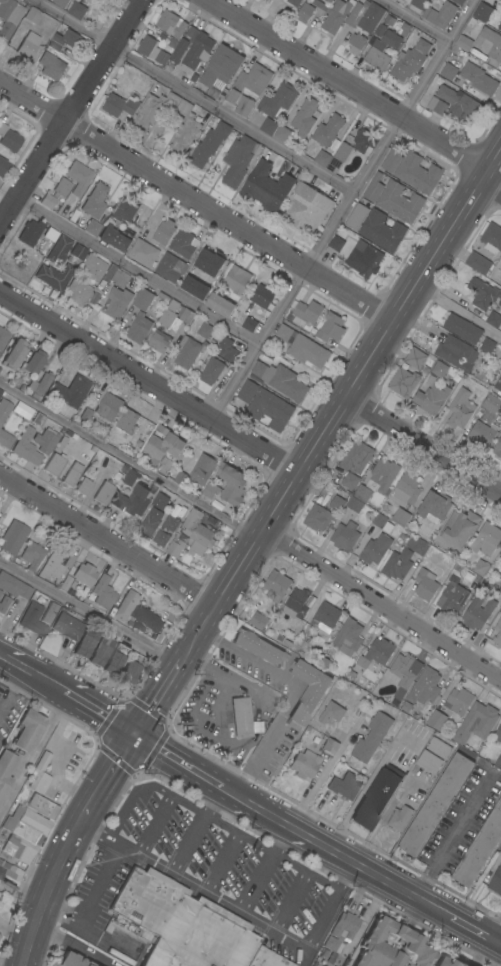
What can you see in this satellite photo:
building: (328, 1)
building: (458, 2)
building: (60, 3)
building: (292, 3)
building: (418, 3)
building: (76, 10)
building: (482, 12)
building: (31, 13)
building: (304, 13)
building: (332, 14)
building: (354, 14)
building: (440, 14)
building: (370, 16)
building: (9, 17)
building: (388, 20)
road: (413, 20)
building: (170, 24)
building: (499, 26)
building: (403, 29)
building: (379, 30)
building: (391, 40)
building: (67, 41)
building: (172, 43)
building: (356, 43)
building: (464, 43)
building: (489, 43)
building: (146, 45)
building: (28, 46)
building: (191, 49)
building: (376, 55)
building: (161, 58)
building: (410, 61)
building: (51, 66)
building: (220, 67)
building: (448, 71)
building: (253, 79)
building: (478, 79)
road: (350, 91)
road: (195, 95)
building: (232, 96)
building: (218, 98)
building: (277, 100)
building: (458, 103)
road: (67, 105)
building: (119, 105)
building: (243, 106)
building: (436, 106)
building: (153, 109)
building: (298, 122)
building: (268, 127)
building: (184, 128)
building: (327, 130)
building: (9, 139)
building: (364, 142)
building: (208, 144)
building: (341, 151)
building: (322, 158)
building: (393, 158)
building: (237, 160)
building: (2, 165)
building: (333, 165)
building: (417, 173)
building: (78, 177)
building: (266, 187)
building: (61, 188)
building: (373, 188)
road: (5, 190)
road: (194, 200)
building: (48, 201)
building: (95, 201)
building: (399, 202)
building: (306, 208)
building: (125, 210)
road: (342, 210)
building: (356, 216)
building: (92, 227)
building: (381, 231)
building: (163, 232)
building: (30, 233)
building: (50, 235)
building: (491, 237)
building: (113, 239)
building: (183, 243)
building: (335, 243)
building: (59, 249)
building: (78, 253)
building: (142, 253)
building: (500, 258)
building: (365, 260)
building: (477, 263)
building: (170, 267)
building: (93, 268)
road: (134, 269)
building: (109, 273)
building: (202, 274)
building: (53, 276)
building: (119, 278)
building: (236, 279)
building: (79, 292)
building: (483, 294)
building: (263, 295)
building: (142, 299)
building: (116, 302)
building: (219, 305)
road: (455, 311)
building: (305, 312)
building: (175, 314)
building: (493, 319)
building: (249, 324)
building: (138, 328)
building: (330, 328)
building: (462, 328)
building: (204, 330)
building: (3, 337)
building: (159, 342)
building: (487, 346)
building: (302, 347)
building: (227, 349)
building: (187, 352)
building: (456, 353)
building: (13, 354)
building: (415, 358)
building: (33, 363)
building: (439, 369)
building: (211, 371)
road: (355, 371)
building: (280, 380)
building: (15, 381)
road: (147, 382)
building: (403, 382)
building: (39, 385)
building: (498, 385)
building: (0, 391)
building: (71, 392)
building: (431, 398)
building: (490, 403)
building: (264, 405)
building: (108, 407)
building: (4, 409)
building: (460, 409)
building: (22, 410)
building: (86, 415)
building: (36, 418)
building: (127, 422)
building: (481, 434)
building: (71, 435)
building: (5, 439)
building: (46, 440)
building: (61, 443)
road: (421, 443)
building: (26, 447)
building: (163, 447)
building: (66, 448)
building: (497, 448)
building: (355, 458)
road: (126, 460)
building: (54, 465)
building: (202, 469)
building: (71, 474)
building: (384, 475)
building: (129, 477)
building: (180, 478)
building: (350, 481)
building: (231, 484)
building: (82, 486)
building: (405, 489)
building: (210, 490)
building: (103, 493)
building: (362, 494)
building: (135, 499)
building: (336, 503)
building: (354, 504)
building: (434, 508)
building: (400, 516)
building: (318, 517)
building: (170, 521)
building: (211, 521)
building: (381, 523)
building: (149, 525)
building: (458, 528)
building: (192, 535)
building: (344, 536)
building: (13, 537)
building: (160, 538)
road: (105, 539)
building: (486, 540)
building: (417, 545)
building: (375, 549)
building: (500, 553)
building: (32, 555)
building: (80, 556)
building: (69, 561)
building: (397, 564)
building: (51, 567)
building: (480, 568)
building: (78, 576)
building: (425, 585)
building: (14, 586)
building: (276, 586)
building: (499, 586)
building: (0, 592)
building: (103, 592)
building: (452, 598)
building: (3, 603)
building: (297, 603)
road: (380, 604)
building: (500, 606)
road: (88, 612)
building: (137, 612)
building: (477, 612)
building: (49, 613)
building: (324, 618)
building: (32, 620)
building: (258, 620)
building: (67, 625)
road: (195, 631)
building: (497, 633)
building: (348, 635)
building: (279, 637)
building: (85, 643)
building: (286, 643)
building: (259, 647)
building: (100, 651)
building: (376, 654)
building: (115, 660)
road: (178, 661)
building: (324, 662)
building: (130, 669)
road: (30, 673)
building: (402, 673)
building: (351, 674)
building: (424, 687)
road: (11, 690)
road: (296, 690)
building: (307, 691)
road: (64, 693)
road: (154, 698)
building: (458, 701)
building: (394, 702)
building: (405, 707)
building: (331, 712)
road: (100, 714)
building: (241, 718)
building: (436, 720)
building: (476, 723)
building: (27, 730)
building: (498, 733)
building: (371, 737)
building: (330, 746)
building: (433, 755)
road: (33, 757)
road: (178, 759)
building: (498, 761)
building: (304, 764)
building: (6, 768)
road: (108, 771)
road: (321, 773)
building: (40, 774)
building: (344, 786)
building: (376, 797)
road: (212, 799)
road: (129, 801)
building: (435, 805)
building: (399, 818)
road: (153, 824)
building: (27, 828)
road: (454, 834)
road: (281, 839)
road: (250, 841)
road: (188, 843)
building: (480, 846)
building: (500, 848)
road: (339, 854)
road: (221, 862)
building: (10, 874)
road: (102, 878)
building: (496, 881)
road: (256, 882)
road: (50, 886)
road: (215, 896)
road: (290, 901)
road: (327, 914)
building: (181, 924)
building: (342, 931)
road: (476, 931)
road: (498, 938)
road: (498, 943)
road: (74, 944)
building: (391, 946)
building: (265, 959)
building: (70, 960)
building: (448, 962)

